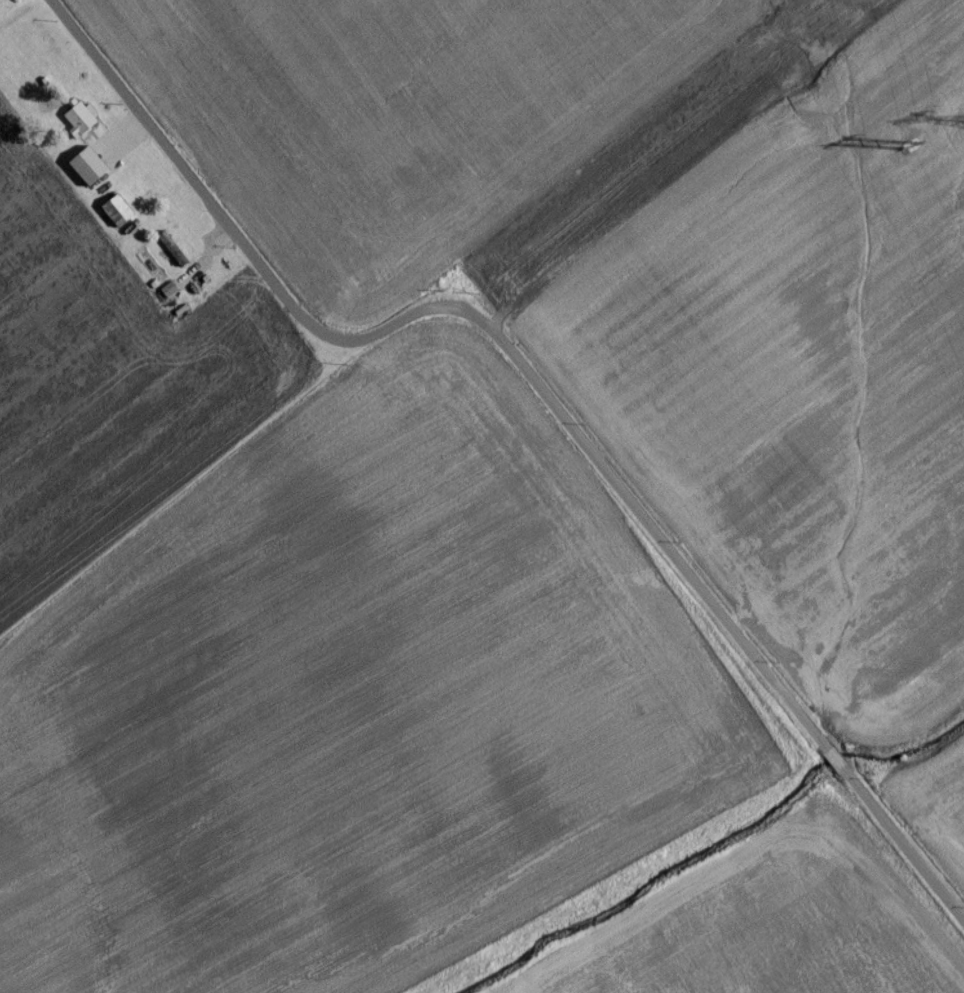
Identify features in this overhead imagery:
building: (1, 0)
building: (75, 126)
power tower: (901, 153)
building: (83, 173)
building: (113, 217)
building: (171, 256)
building: (166, 297)
road: (535, 380)

